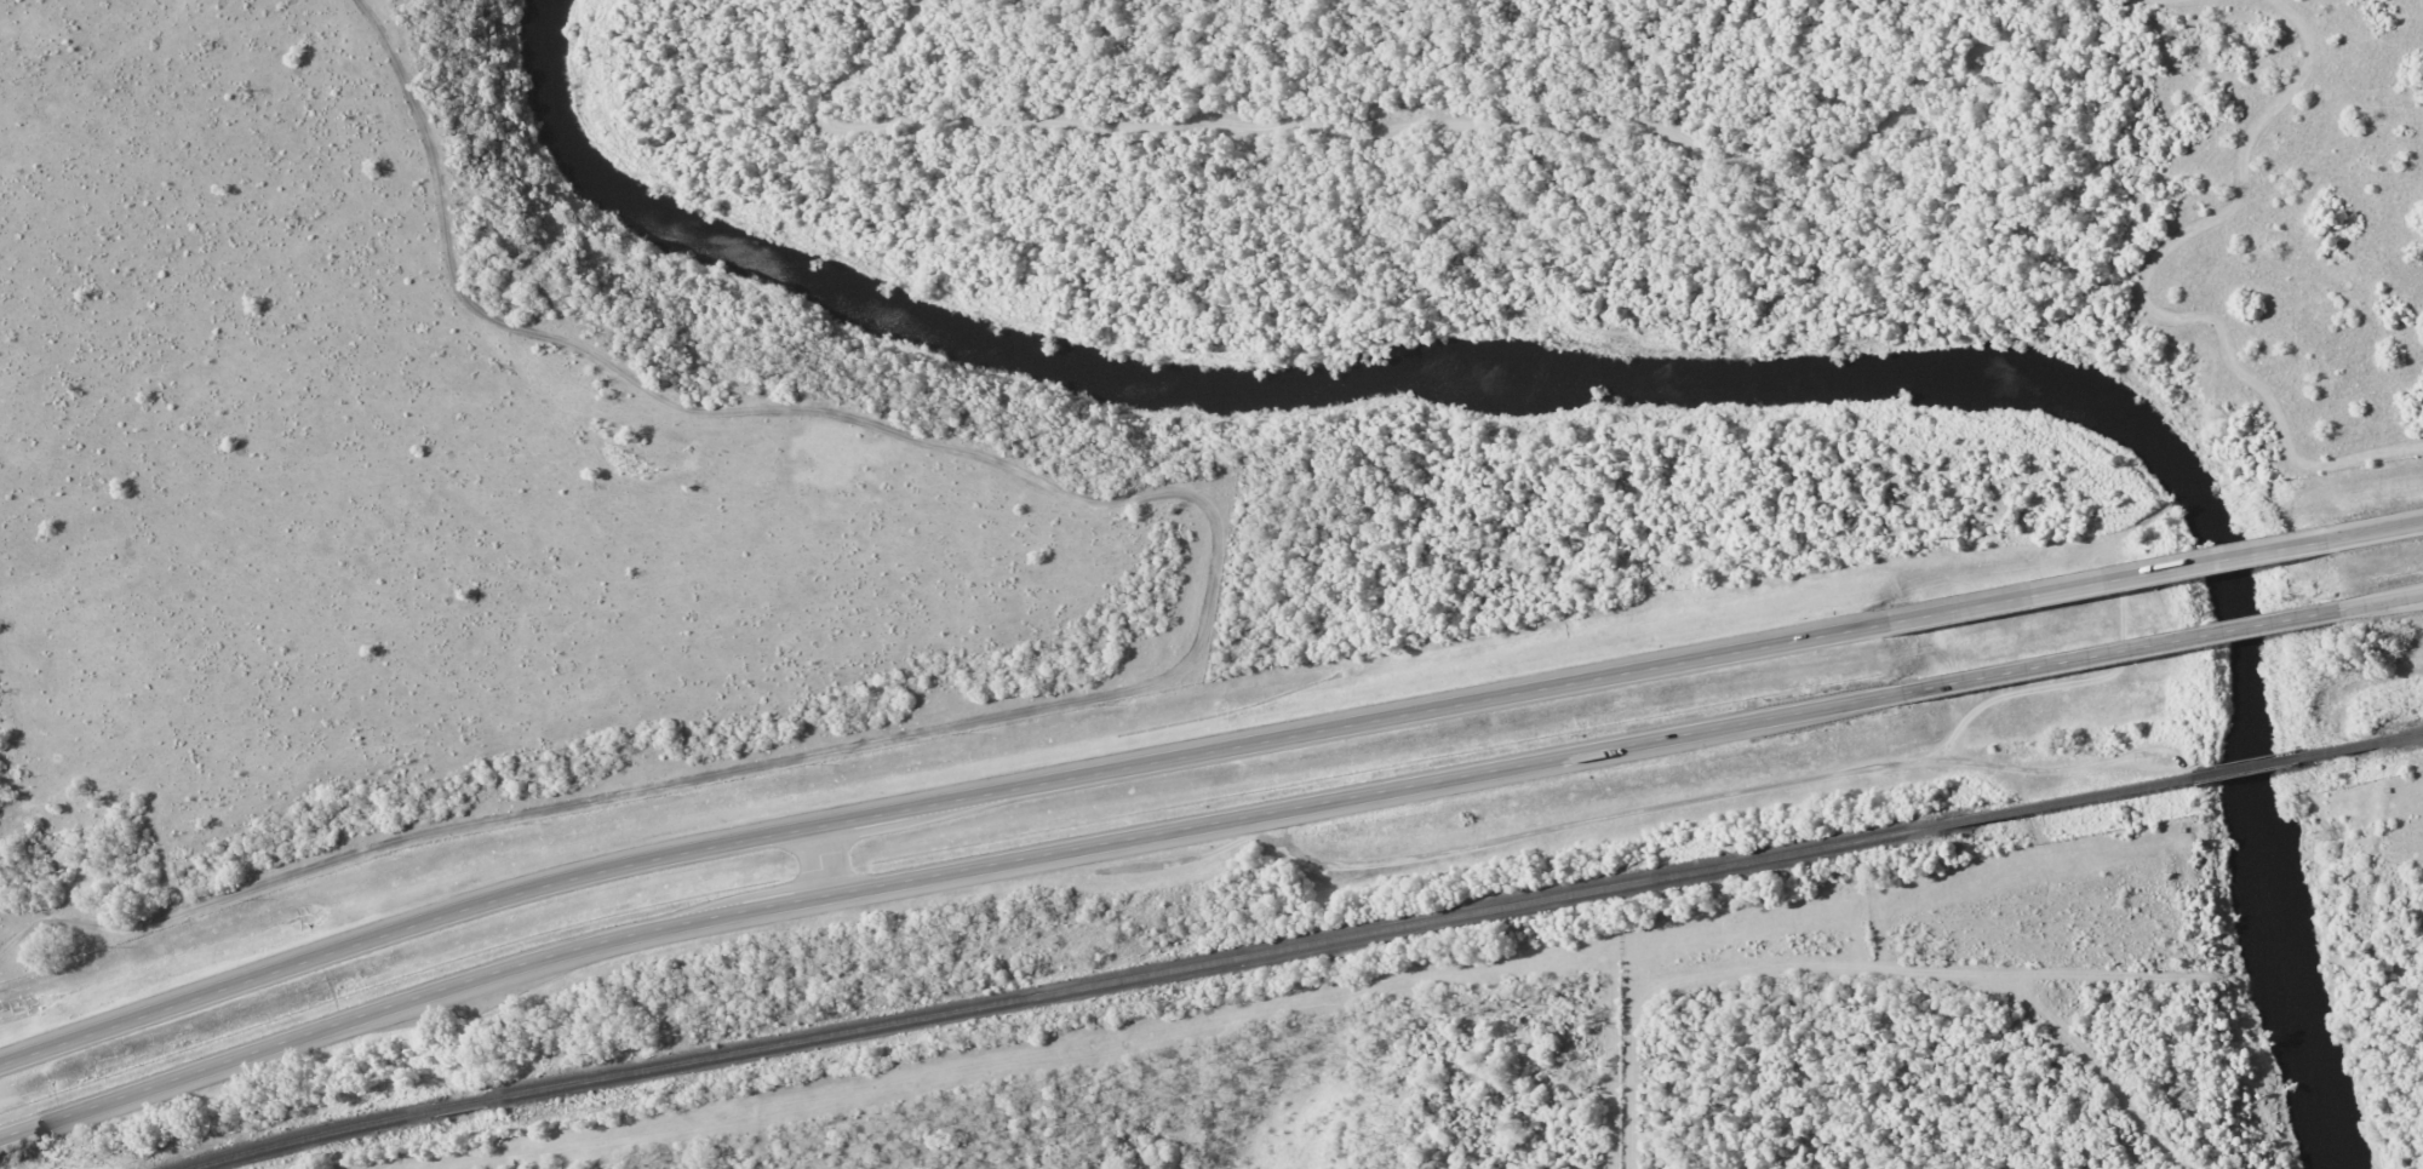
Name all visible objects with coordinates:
river: (1644, 373)
road: (2372, 529)
road: (2104, 581)
road: (2381, 600)
road: (2119, 649)
railway: (2408, 735)
railway: (2163, 781)
road: (934, 814)
road: (825, 871)
road: (939, 883)
railway: (1210, 961)
railway: (463, 1102)
railway: (309, 1134)

